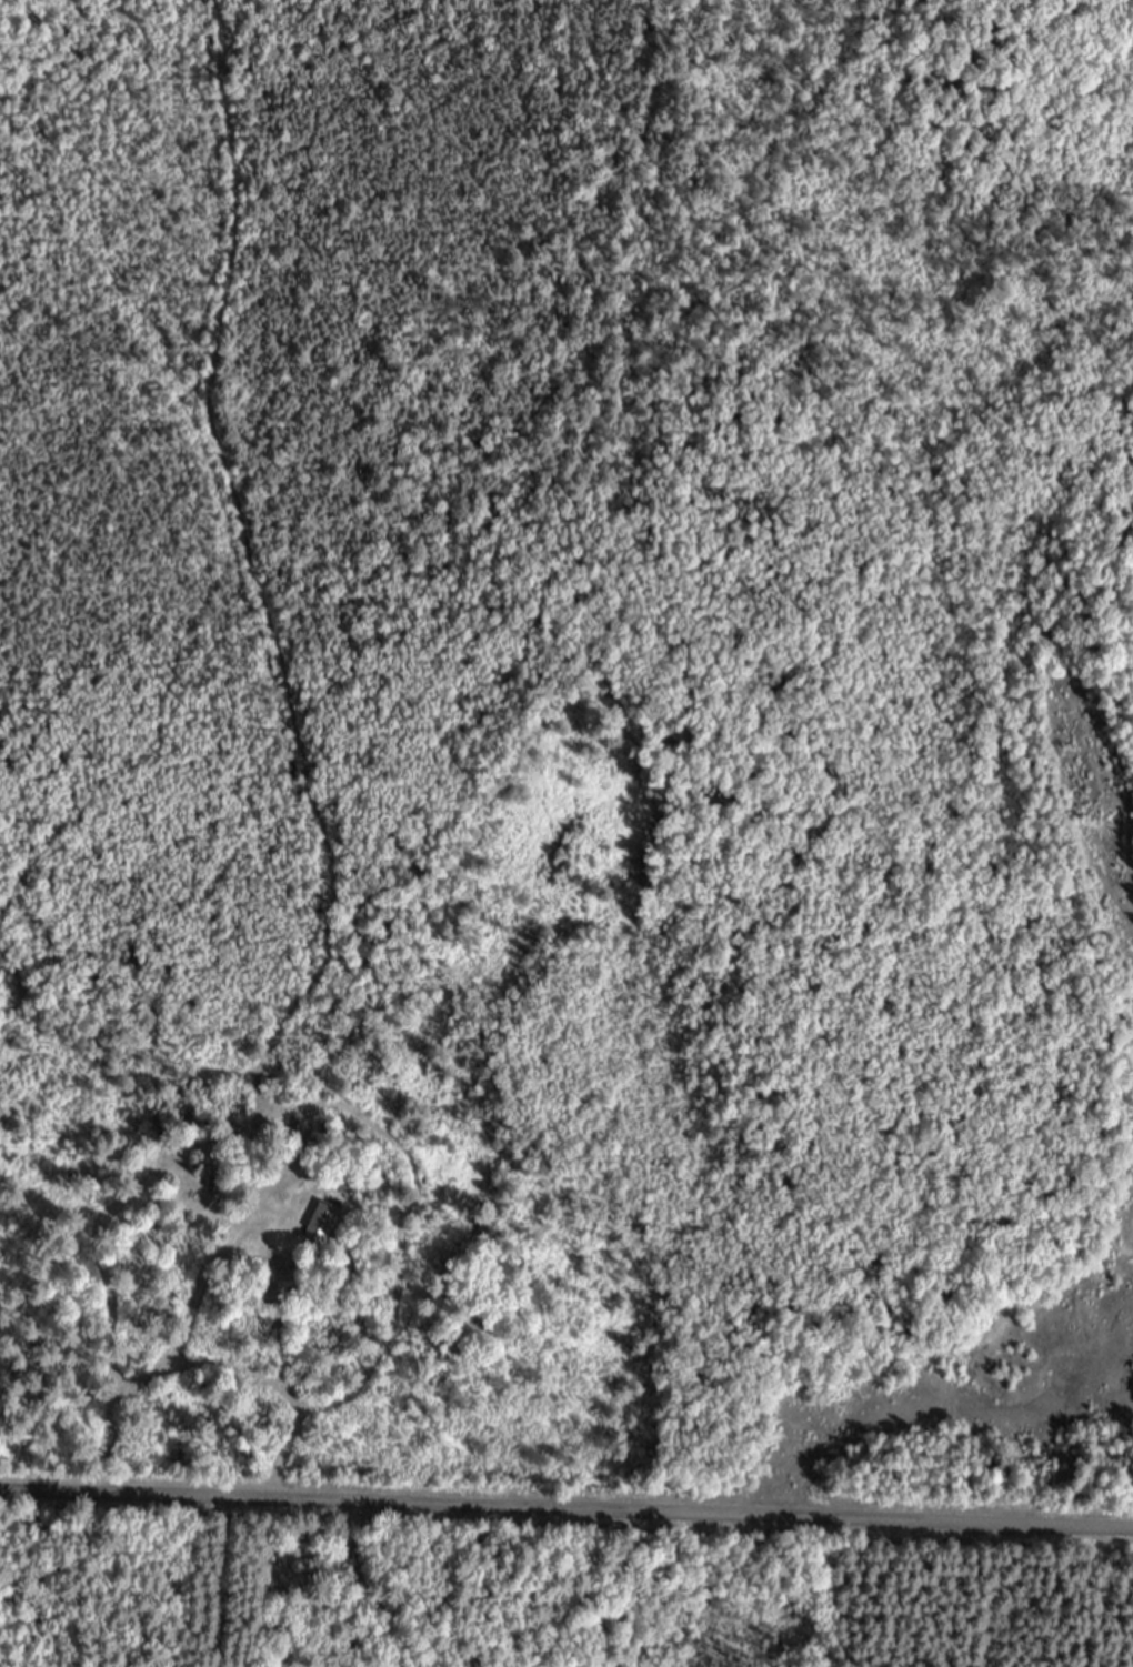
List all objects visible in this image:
road: (566, 1507)

